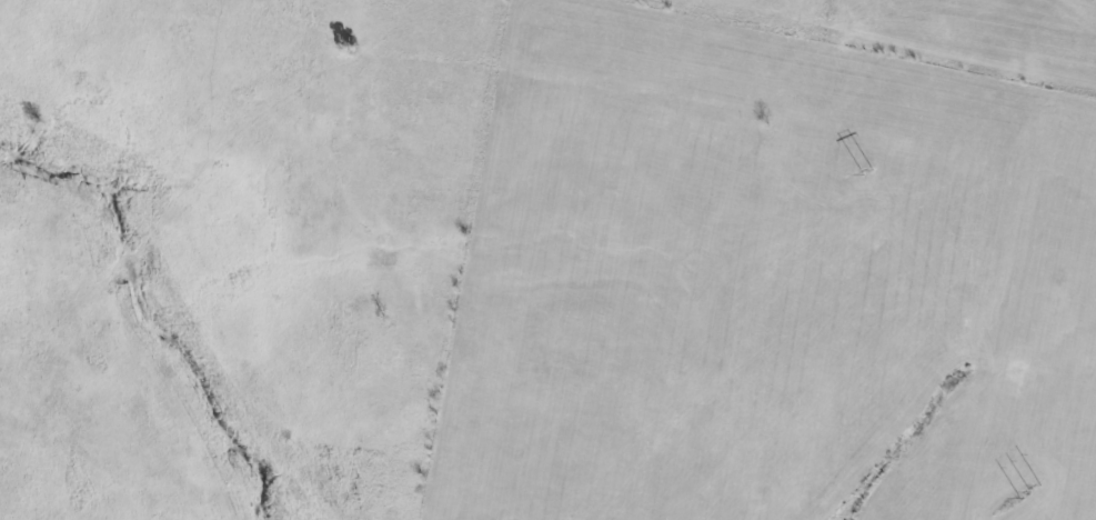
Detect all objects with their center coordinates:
power tower: (878, 171)
power tower: (1032, 493)

